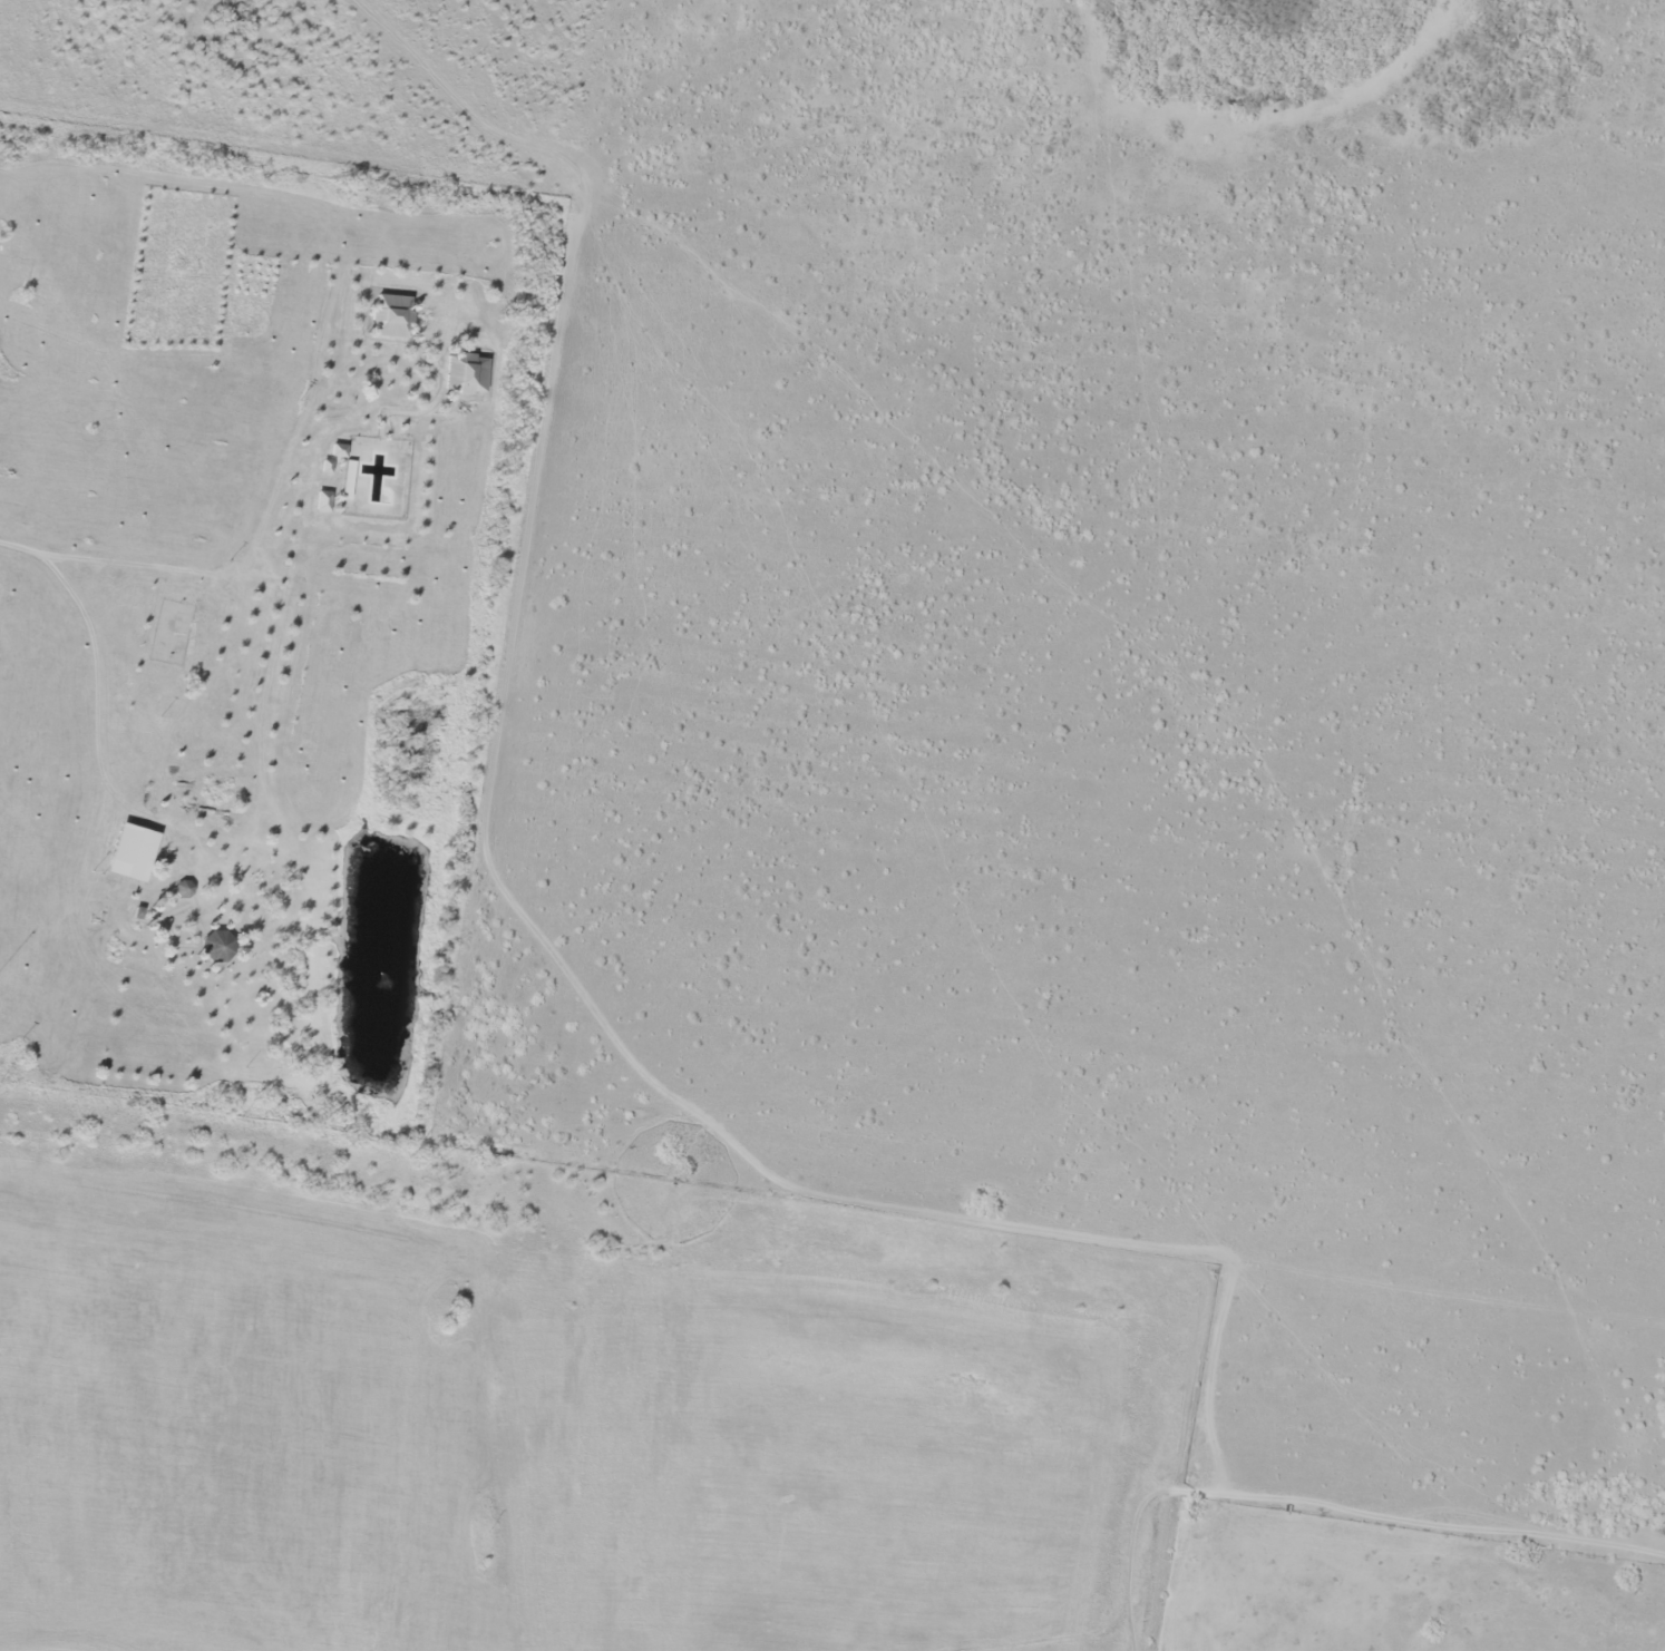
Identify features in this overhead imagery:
building: (389, 315)
building: (463, 373)
building: (320, 500)
road: (115, 643)
building: (181, 888)
building: (213, 945)

